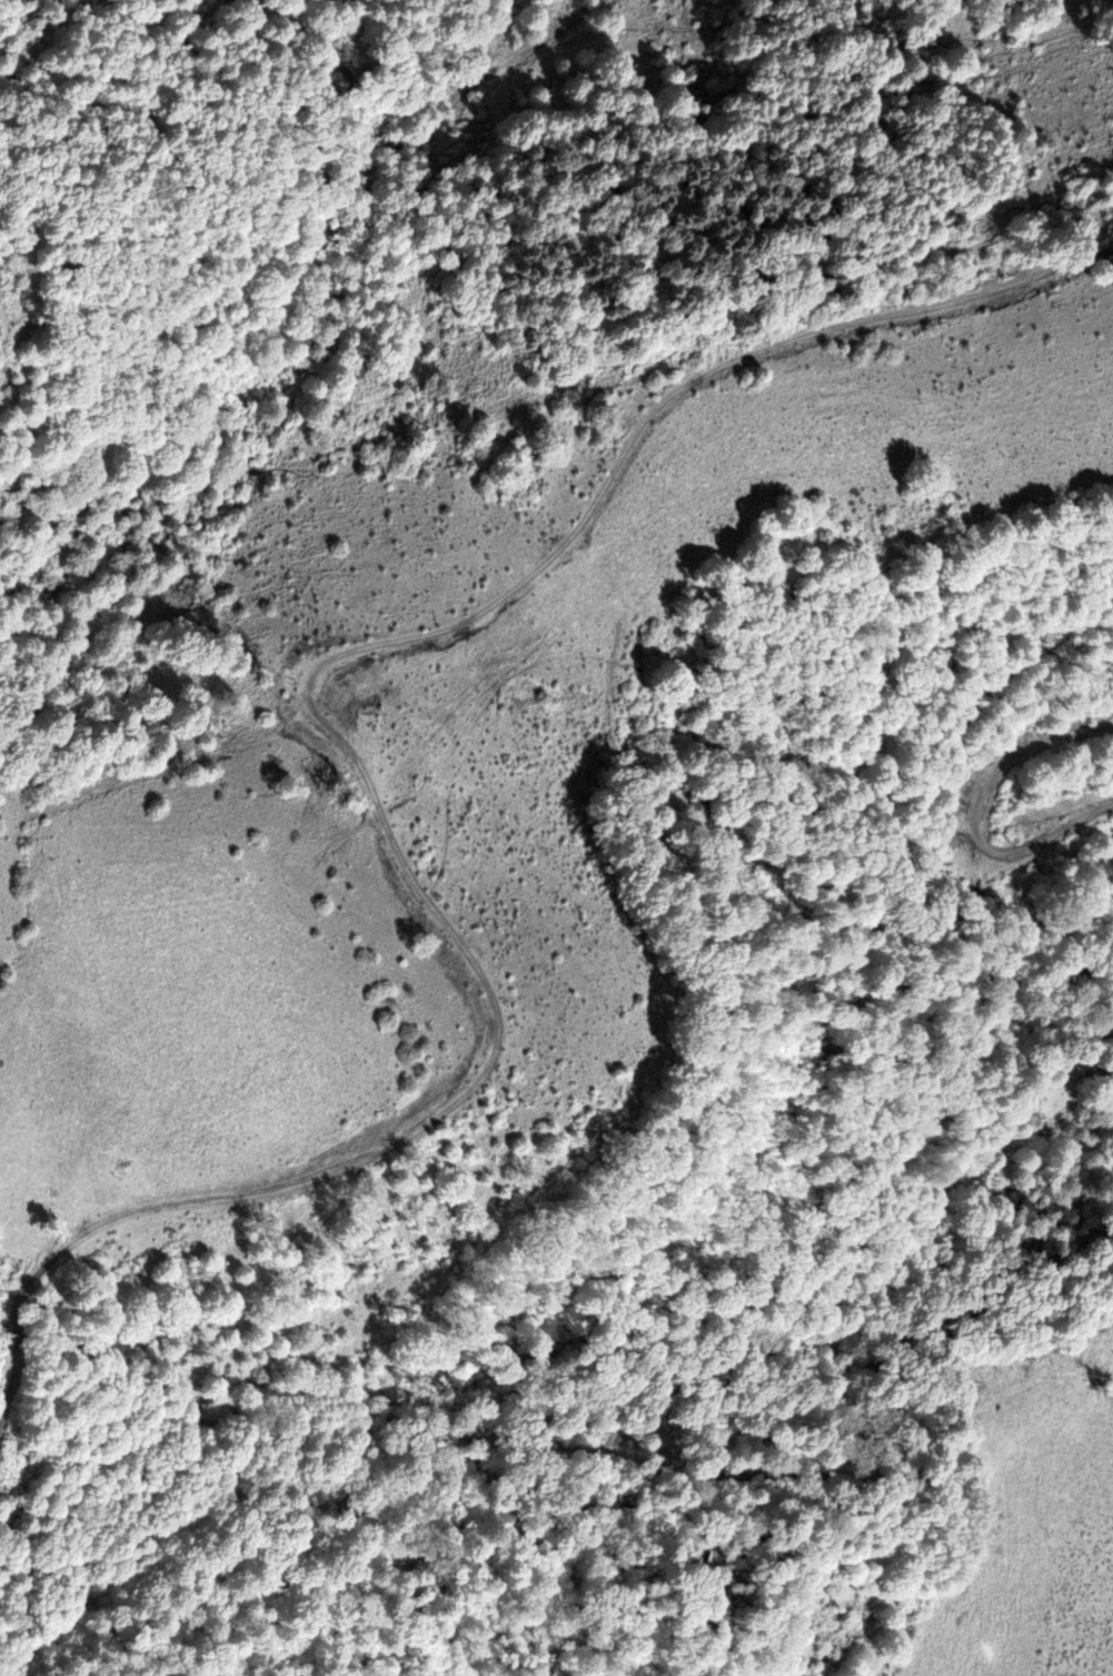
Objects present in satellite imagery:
road: (359, 758)
road: (971, 819)

